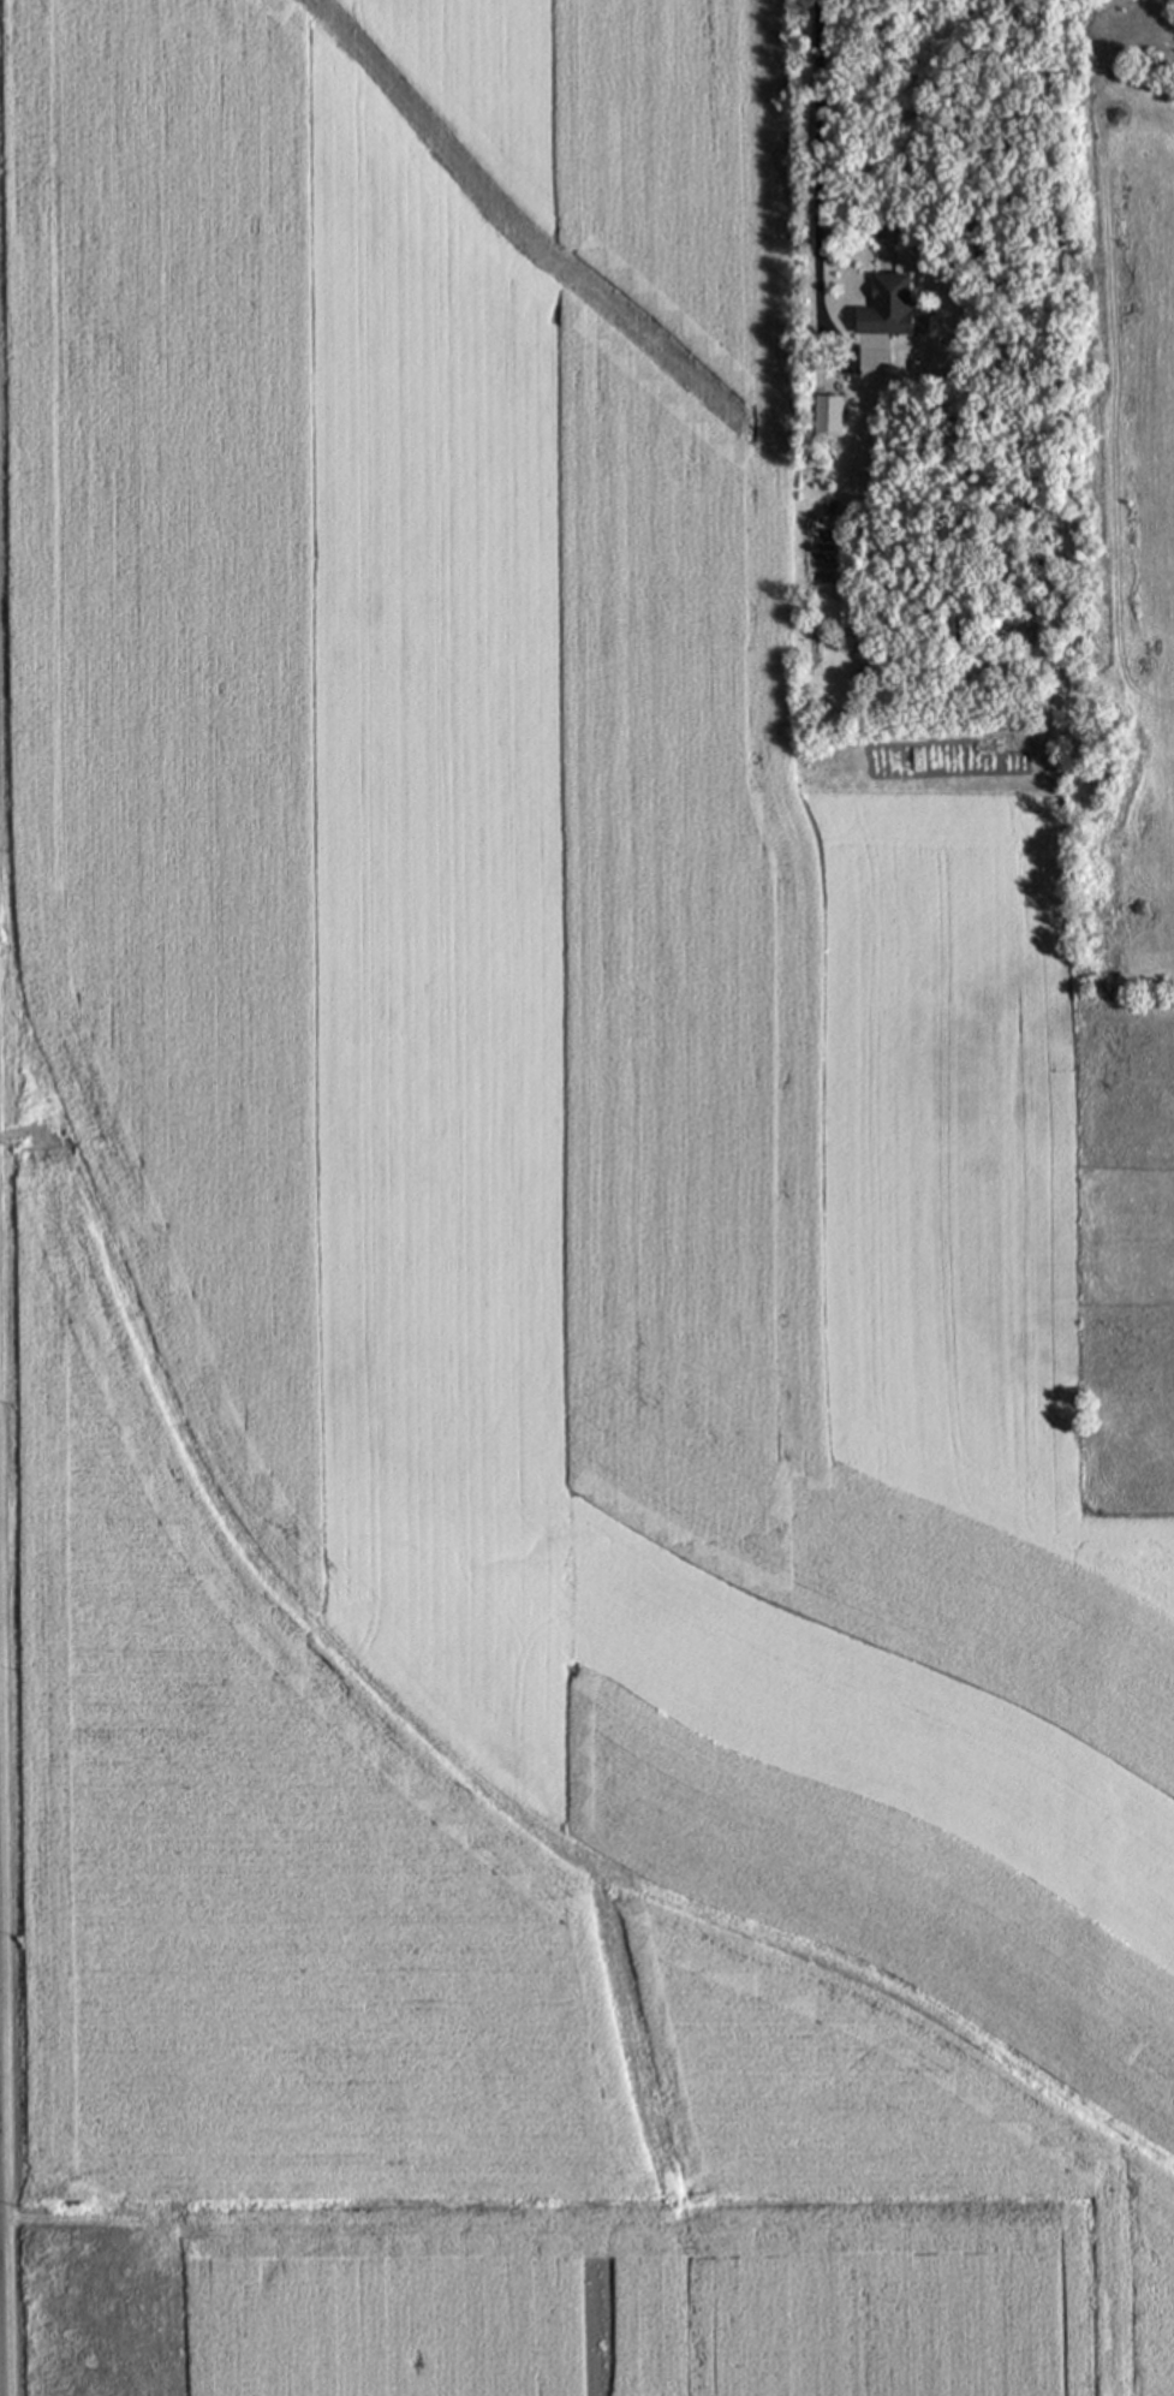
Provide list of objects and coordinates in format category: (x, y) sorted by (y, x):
road: (815, 156)
building: (887, 304)
road: (839, 368)
building: (827, 414)

